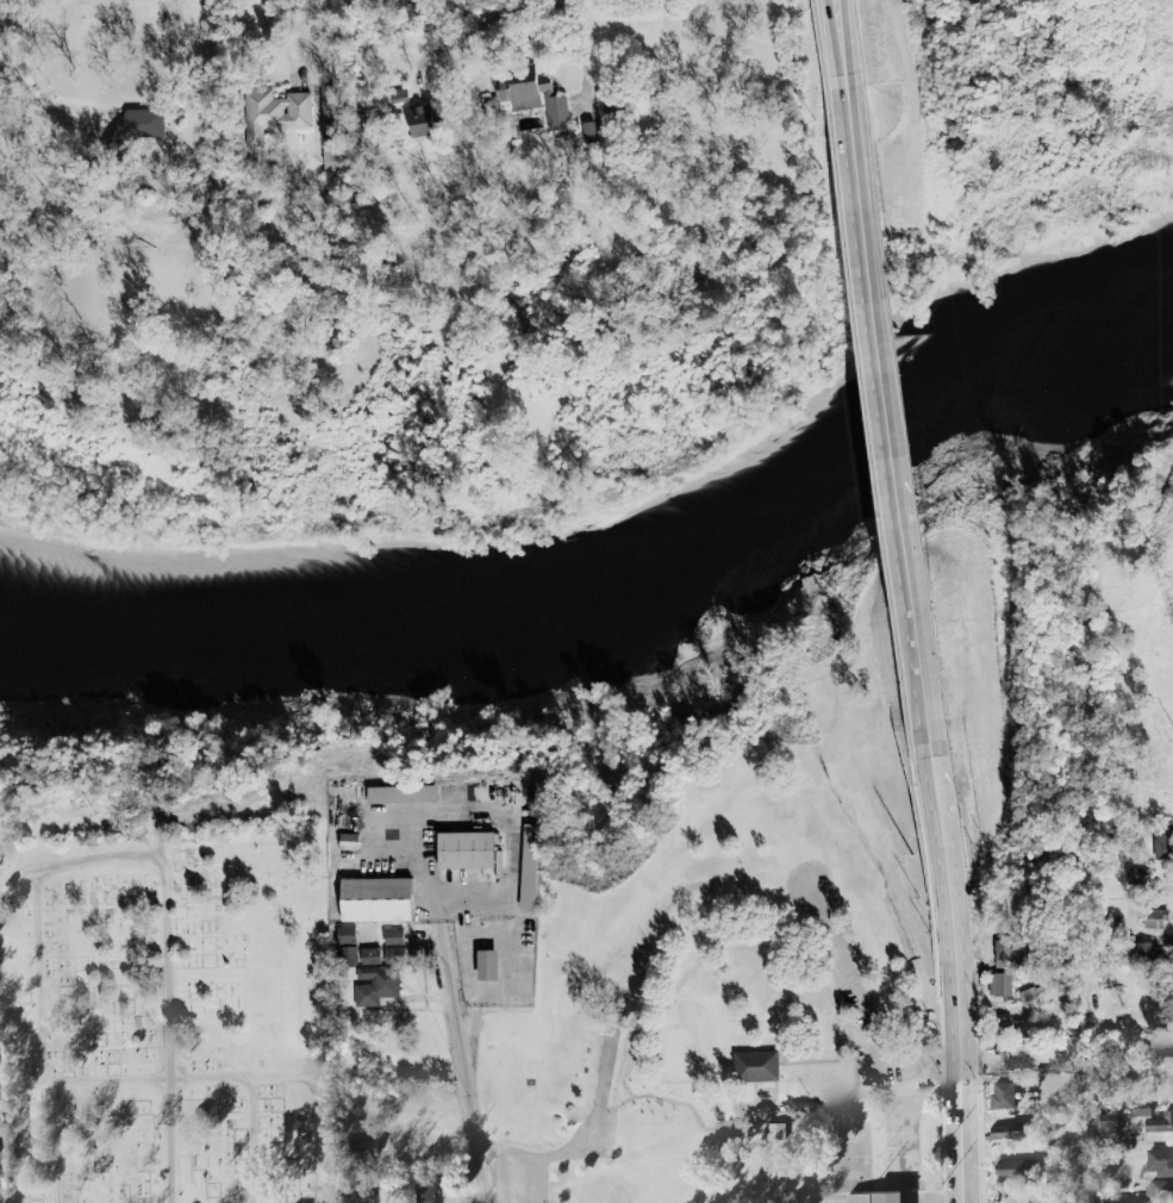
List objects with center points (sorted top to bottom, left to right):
road: (491, 23)
road: (277, 29)
road: (846, 39)
road: (36, 80)
building: (654, 99)
building: (541, 101)
building: (274, 114)
building: (429, 121)
building: (148, 126)
building: (594, 136)
road: (890, 387)
road: (1169, 531)
river: (613, 586)
road: (479, 819)
building: (1159, 843)
building: (461, 849)
building: (1135, 877)
building: (378, 899)
building: (1155, 920)
building: (347, 935)
building: (394, 937)
road: (954, 948)
road: (168, 952)
building: (999, 952)
building: (1146, 953)
building: (347, 955)
building: (372, 956)
building: (394, 956)
building: (482, 965)
road: (39, 979)
building: (376, 985)
building: (999, 985)
building: (1029, 993)
road: (865, 1005)
park: (169, 1021)
building: (1010, 1024)
road: (457, 1036)
building: (1159, 1061)
road: (1084, 1064)
building: (754, 1067)
road: (55, 1086)
road: (61, 1090)
building: (1000, 1096)
road: (255, 1102)
building: (1105, 1122)
building: (1148, 1122)
building: (1011, 1130)
road: (531, 1148)
building: (1161, 1163)
building: (1011, 1168)
road: (480, 1174)
building: (424, 1192)
building: (869, 1197)
building: (1122, 1199)

